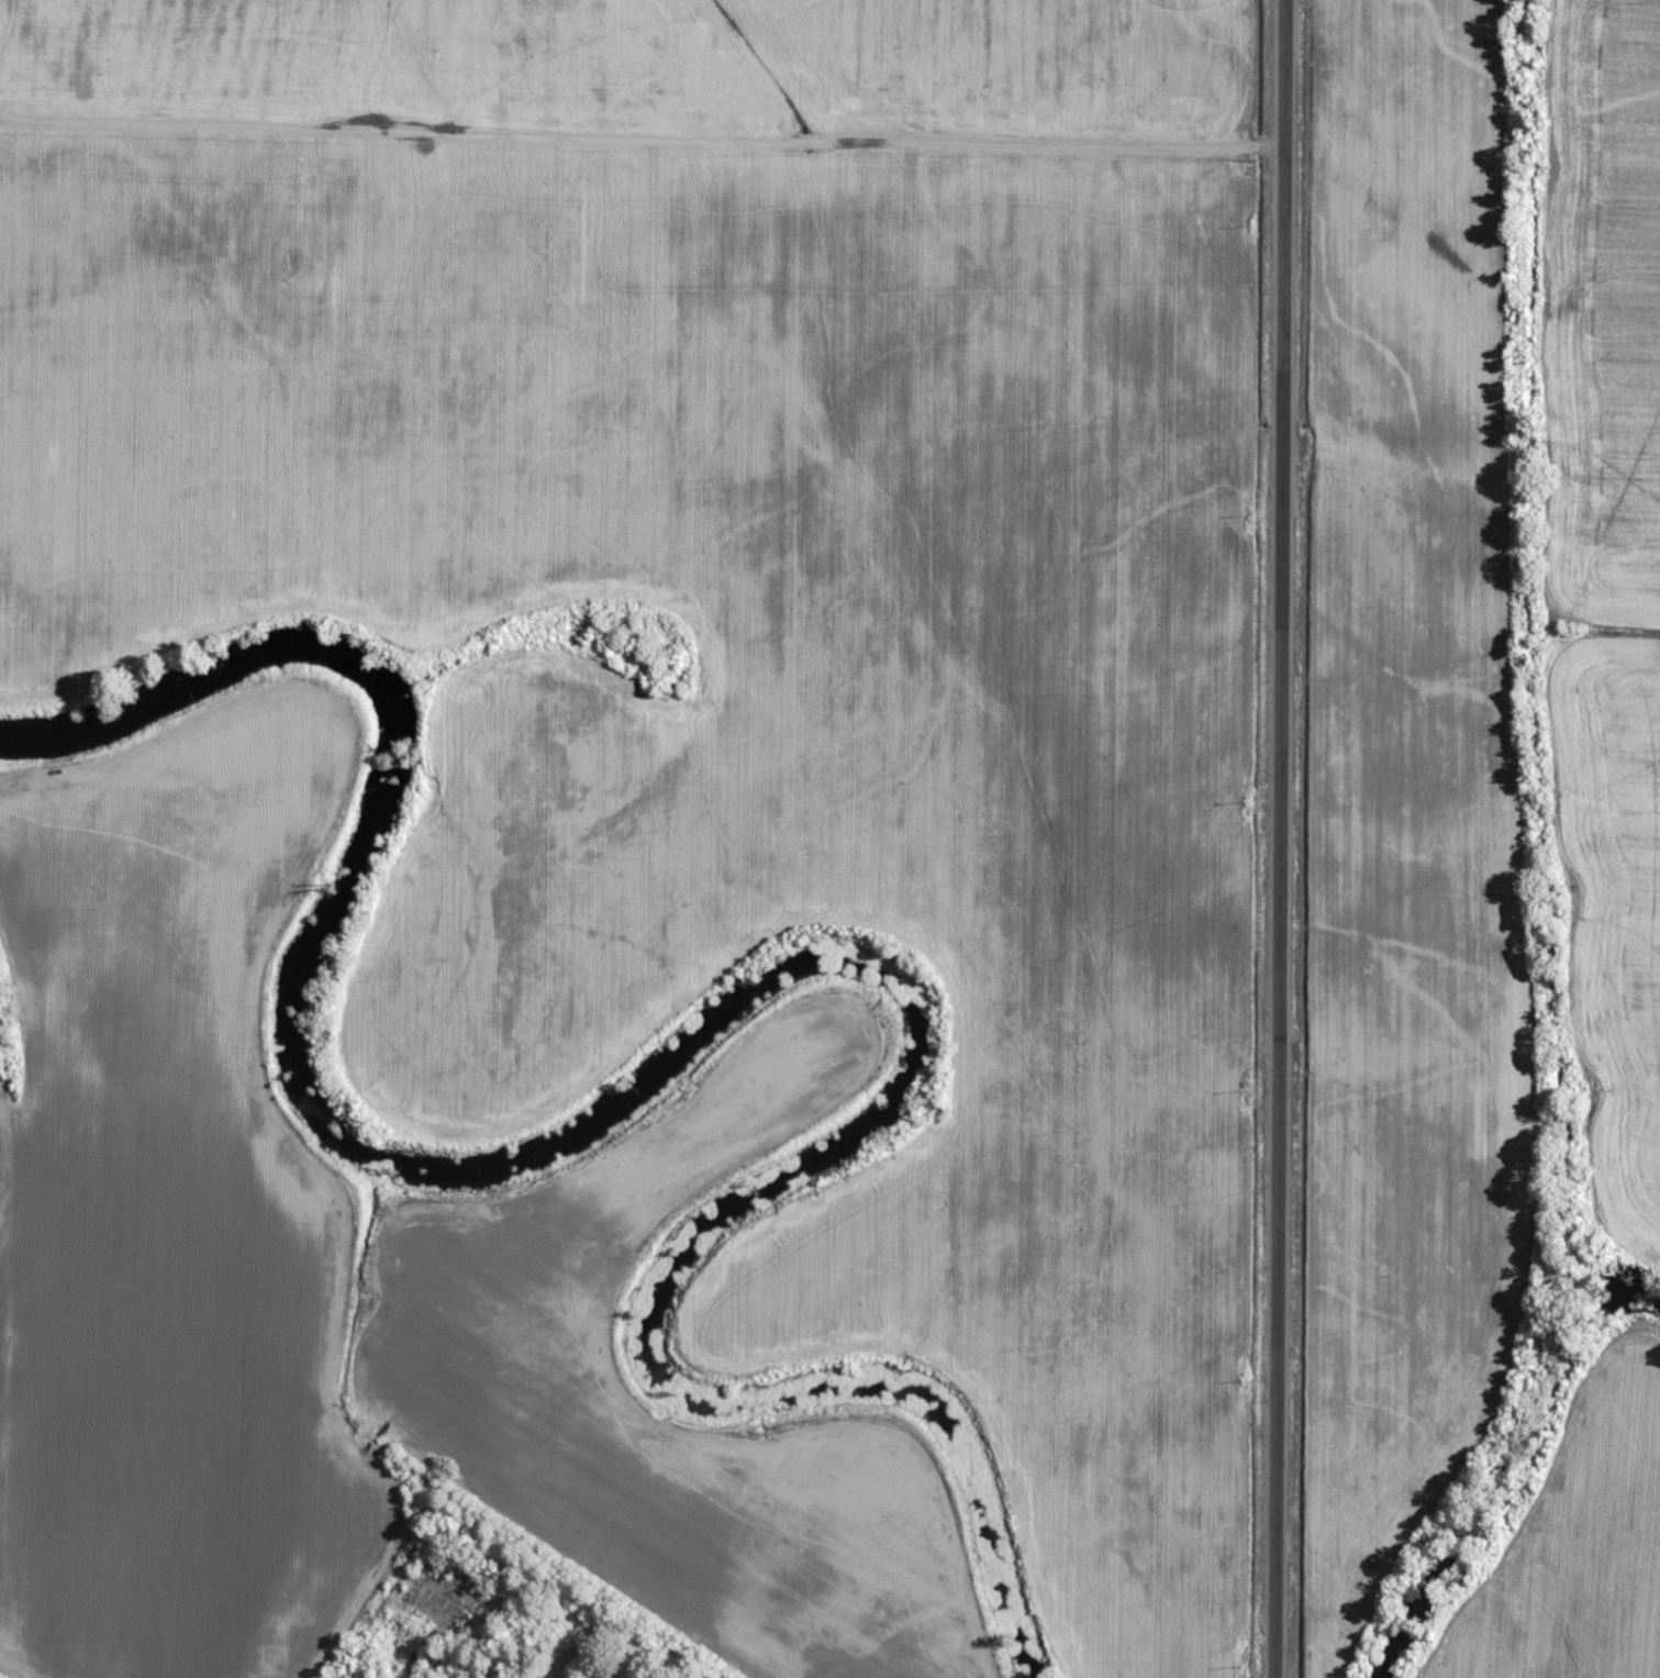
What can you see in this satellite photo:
road: (417, 132)
road: (962, 149)
road: (1407, 460)
road: (1269, 838)
road: (369, 1586)
road: (566, 1589)
road: (630, 1659)

